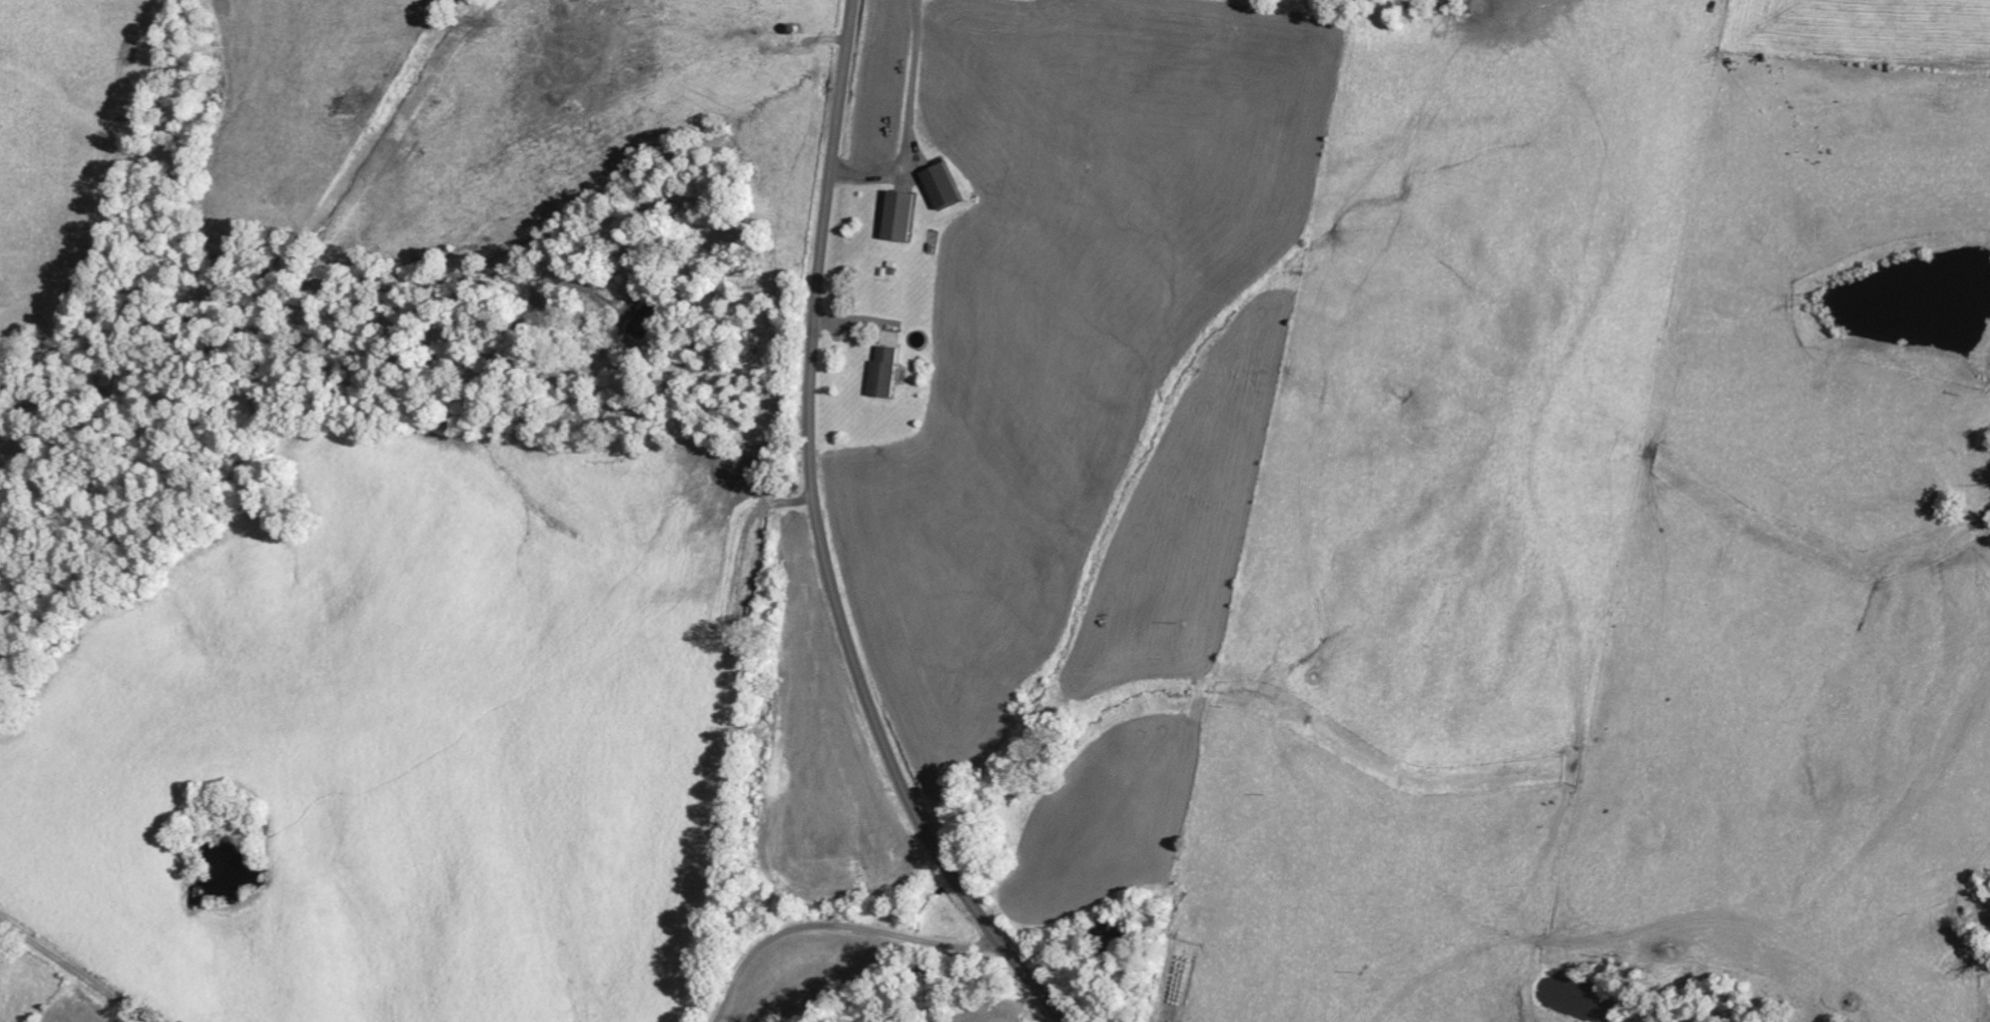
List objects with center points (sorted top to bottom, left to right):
building: (945, 185)
building: (902, 215)
building: (888, 371)
road: (824, 542)
road: (839, 925)
road: (75, 970)

